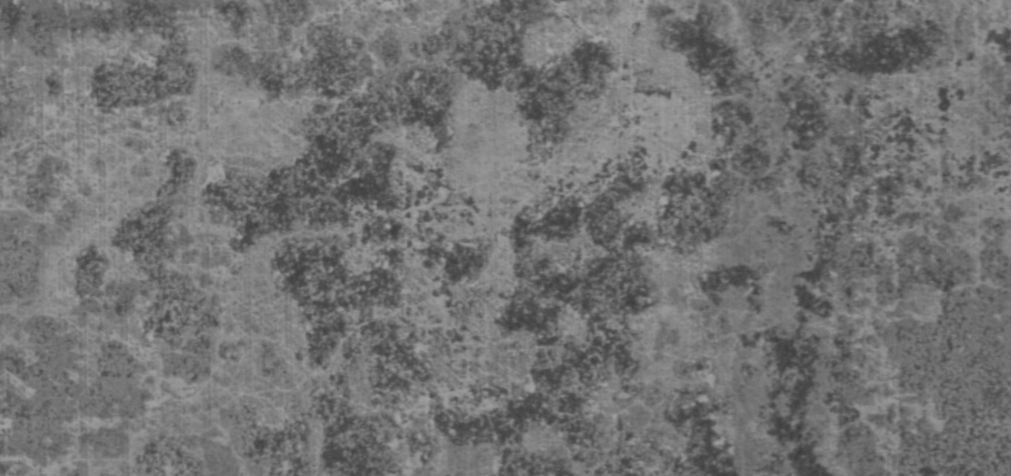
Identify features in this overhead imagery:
crop: (505, 238)

